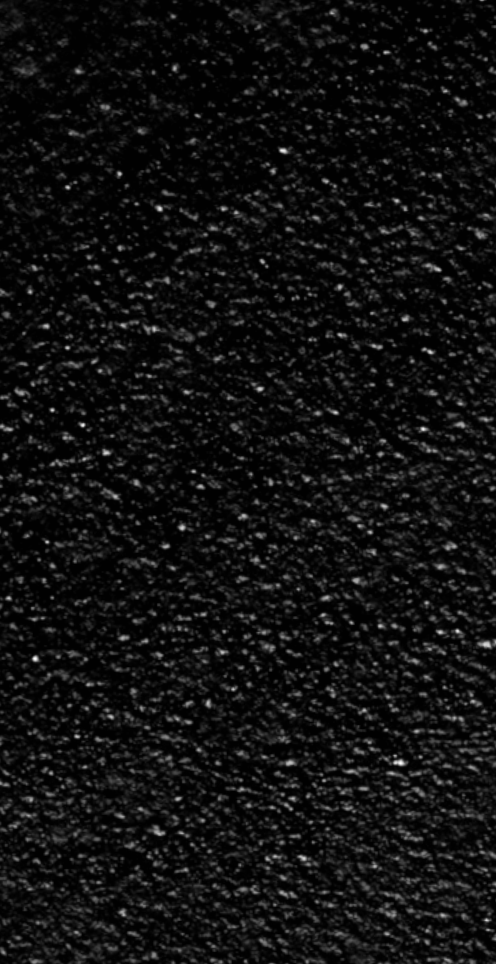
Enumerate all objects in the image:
river: (248, 540)

